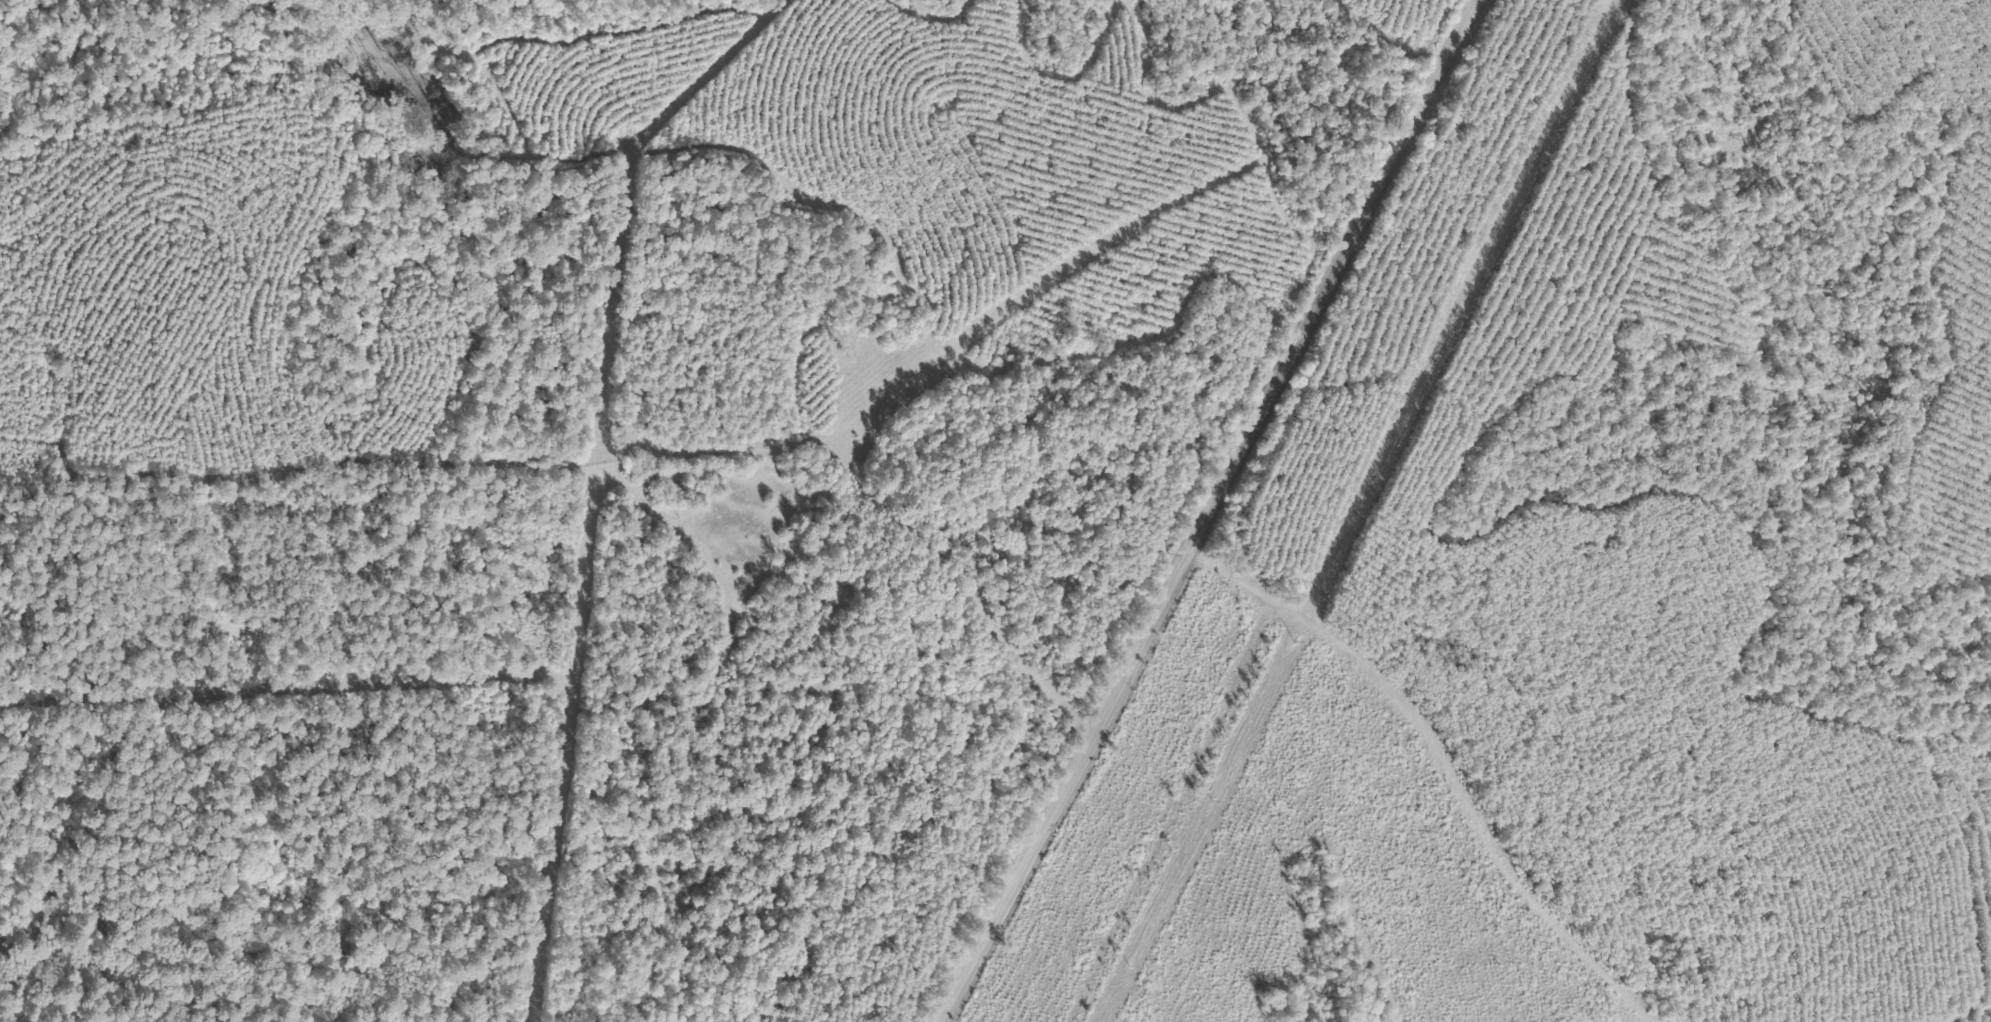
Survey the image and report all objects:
road: (1220, 512)

